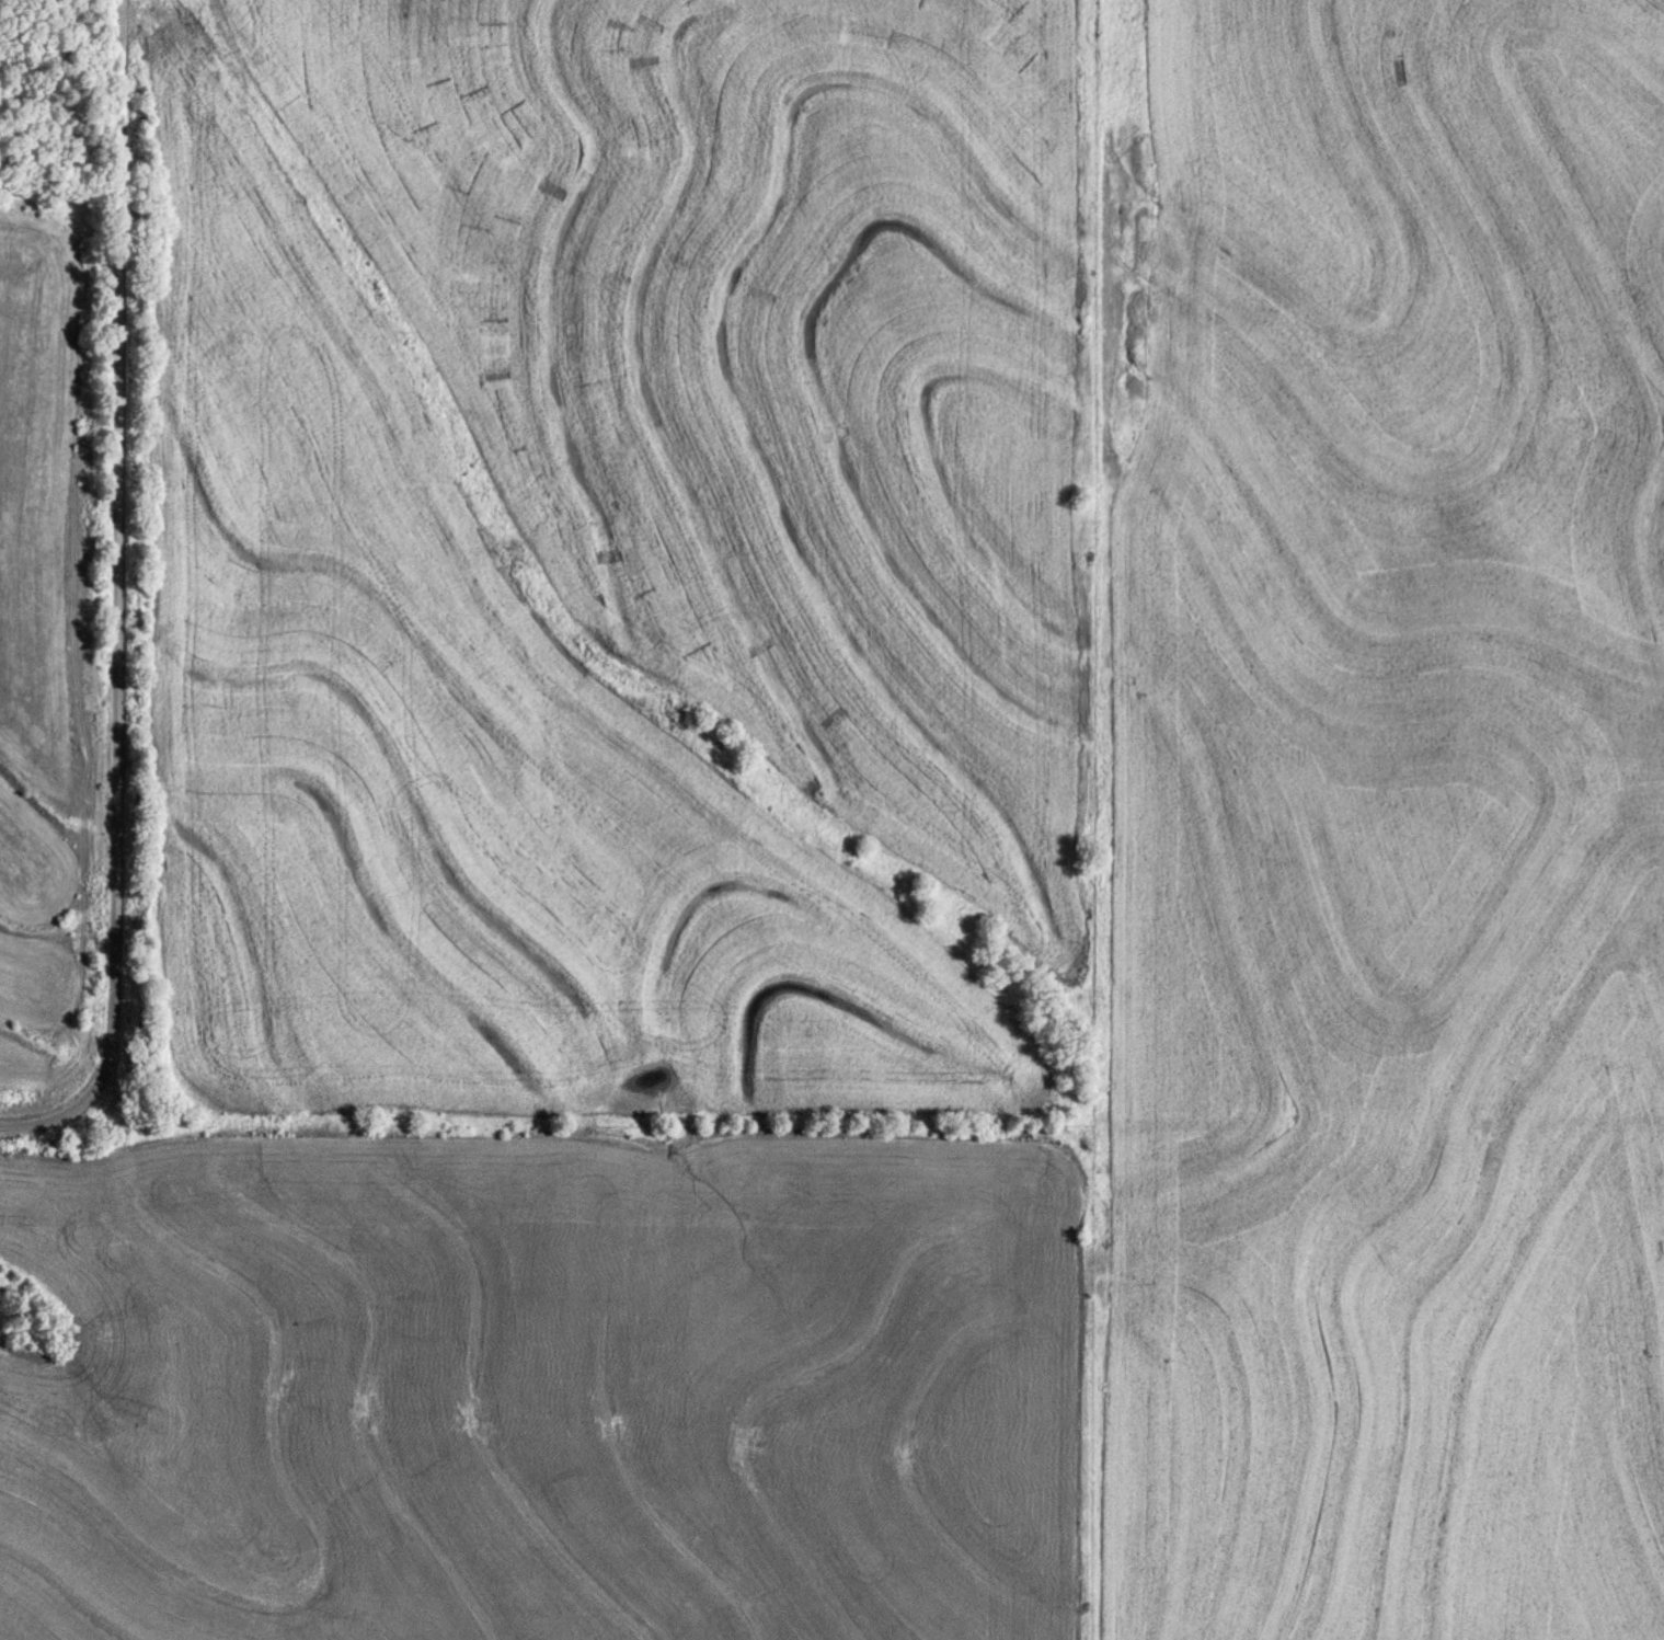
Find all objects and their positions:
road: (116, 553)
road: (45, 1121)

